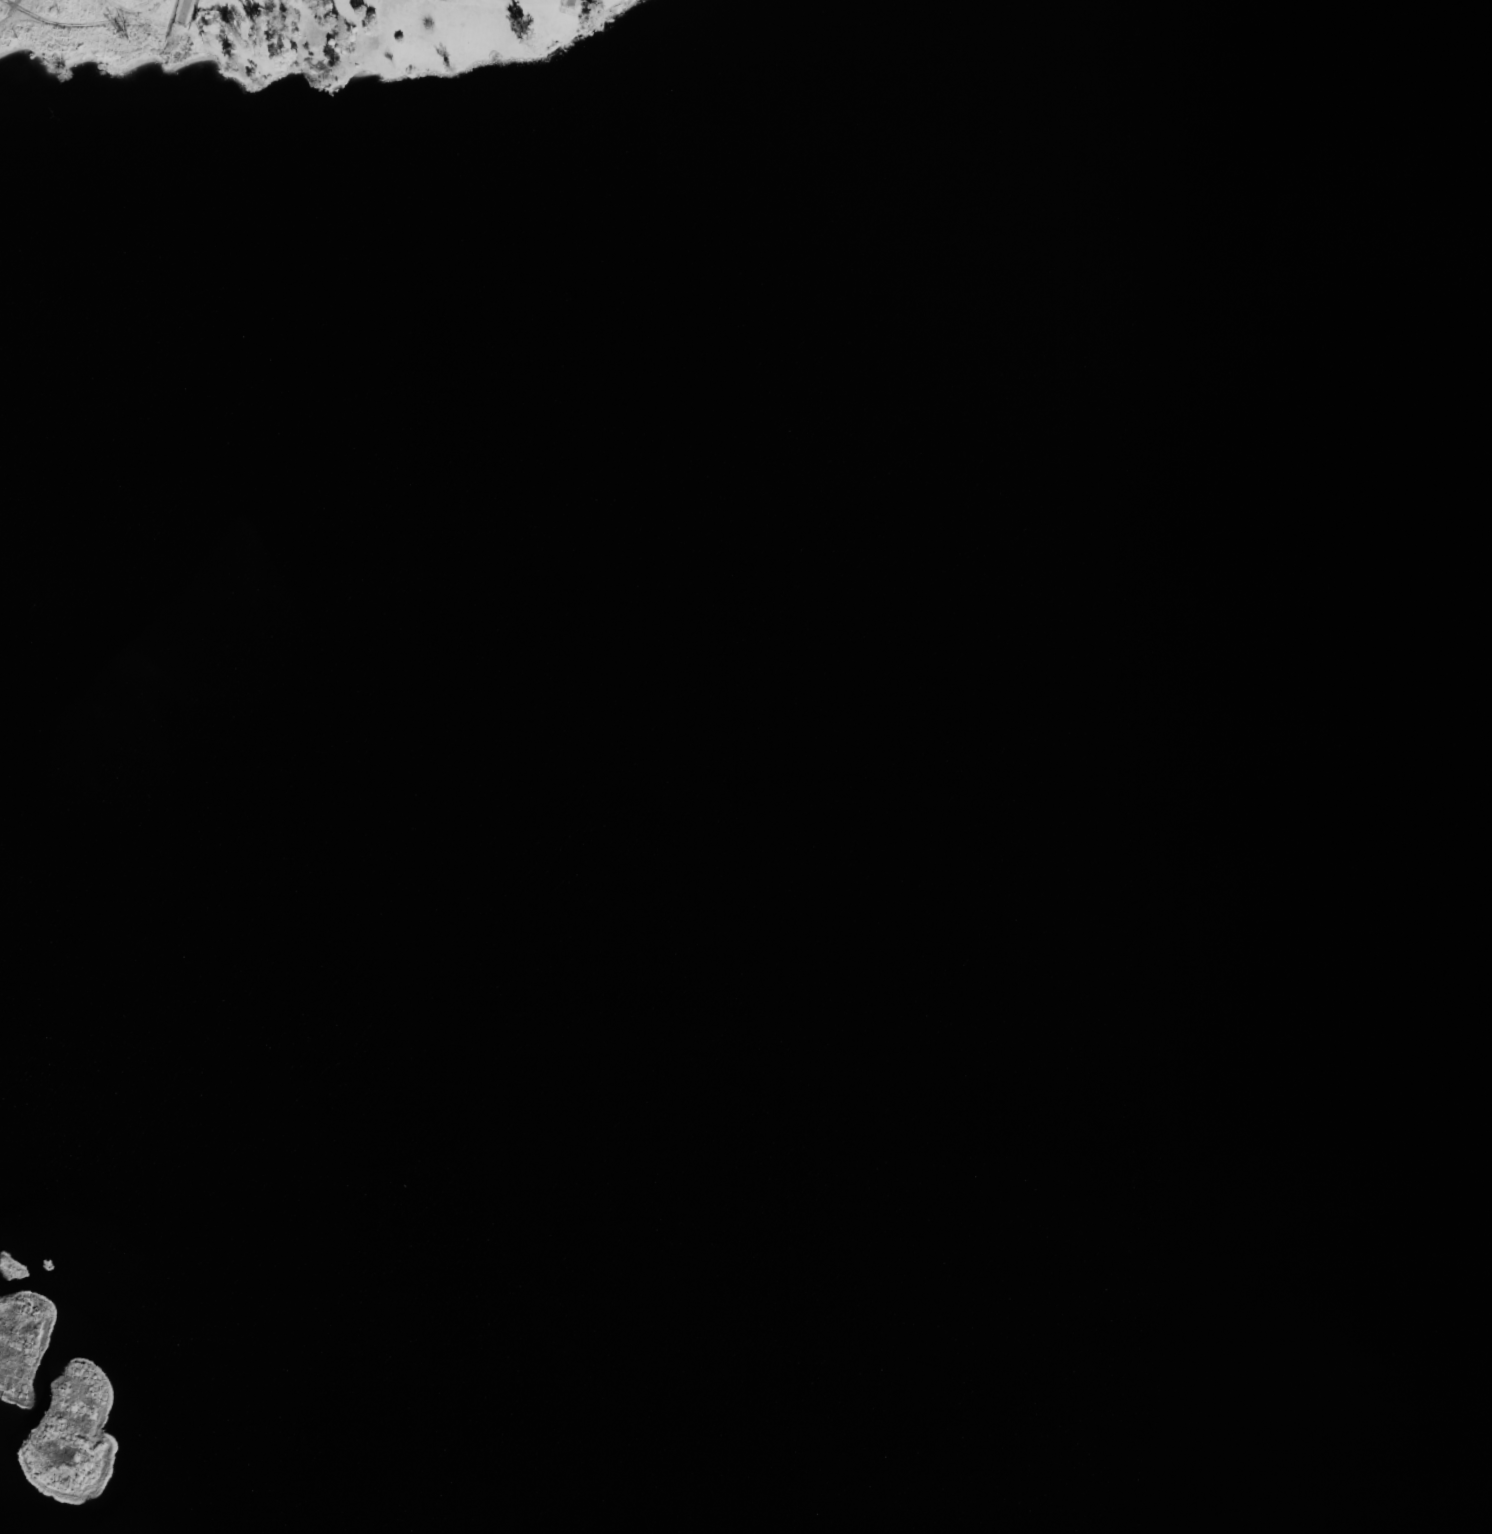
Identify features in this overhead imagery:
road: (572, 2)
road: (186, 7)

